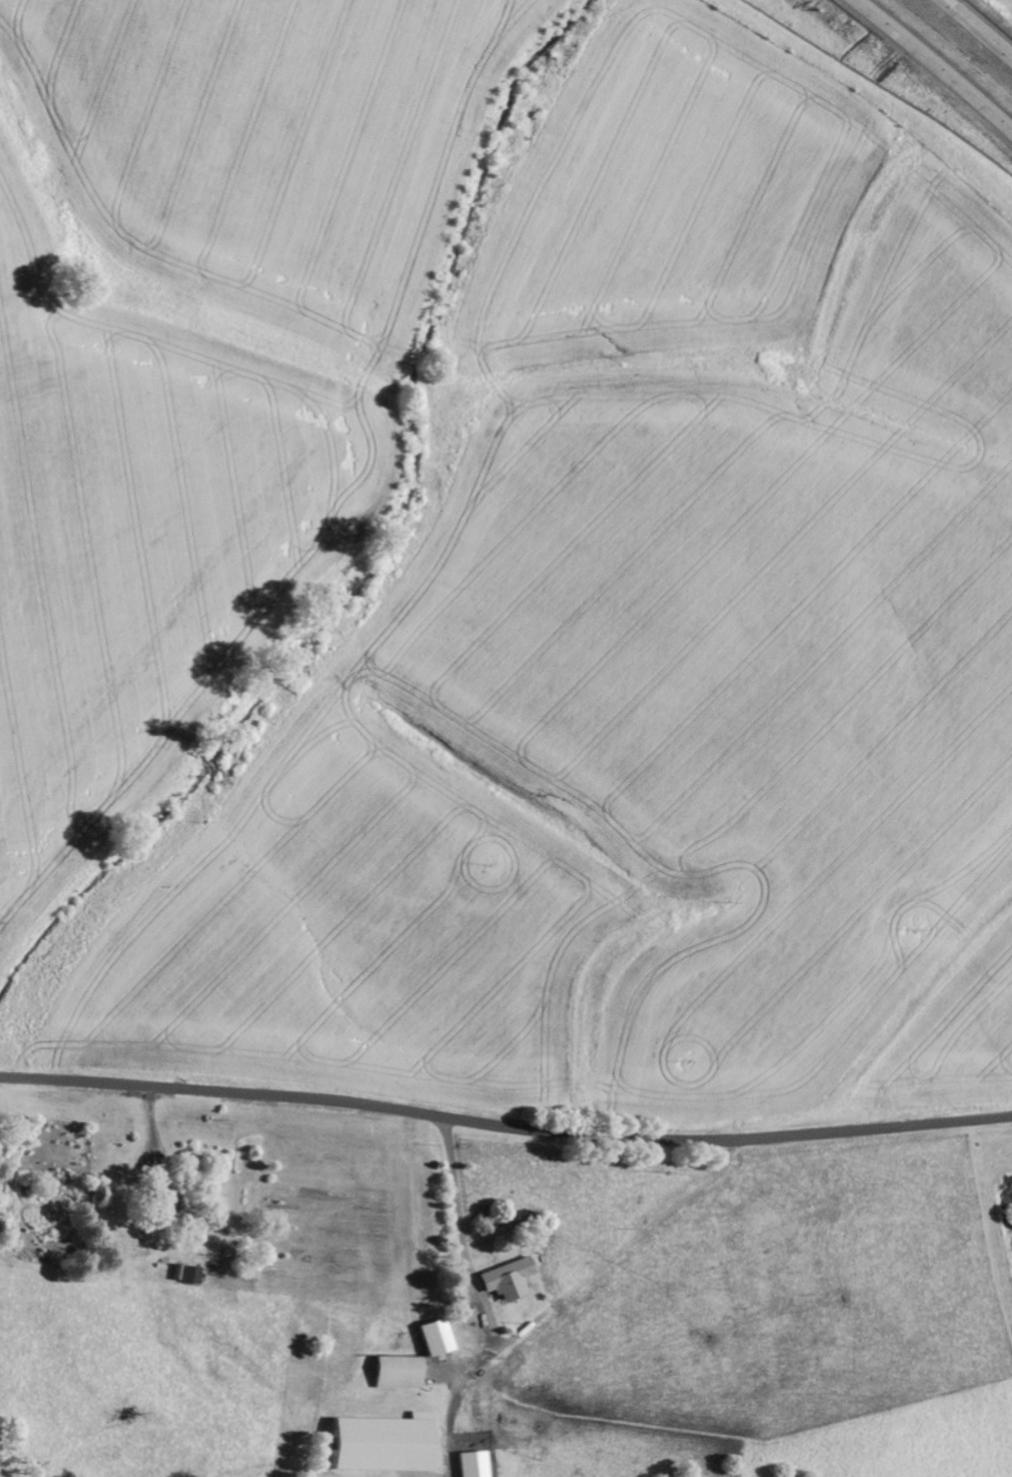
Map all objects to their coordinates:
road: (976, 29)
road: (931, 66)
road: (505, 1128)
building: (164, 1206)
building: (508, 1279)
building: (434, 1337)
building: (397, 1373)
building: (380, 1444)
building: (470, 1464)

